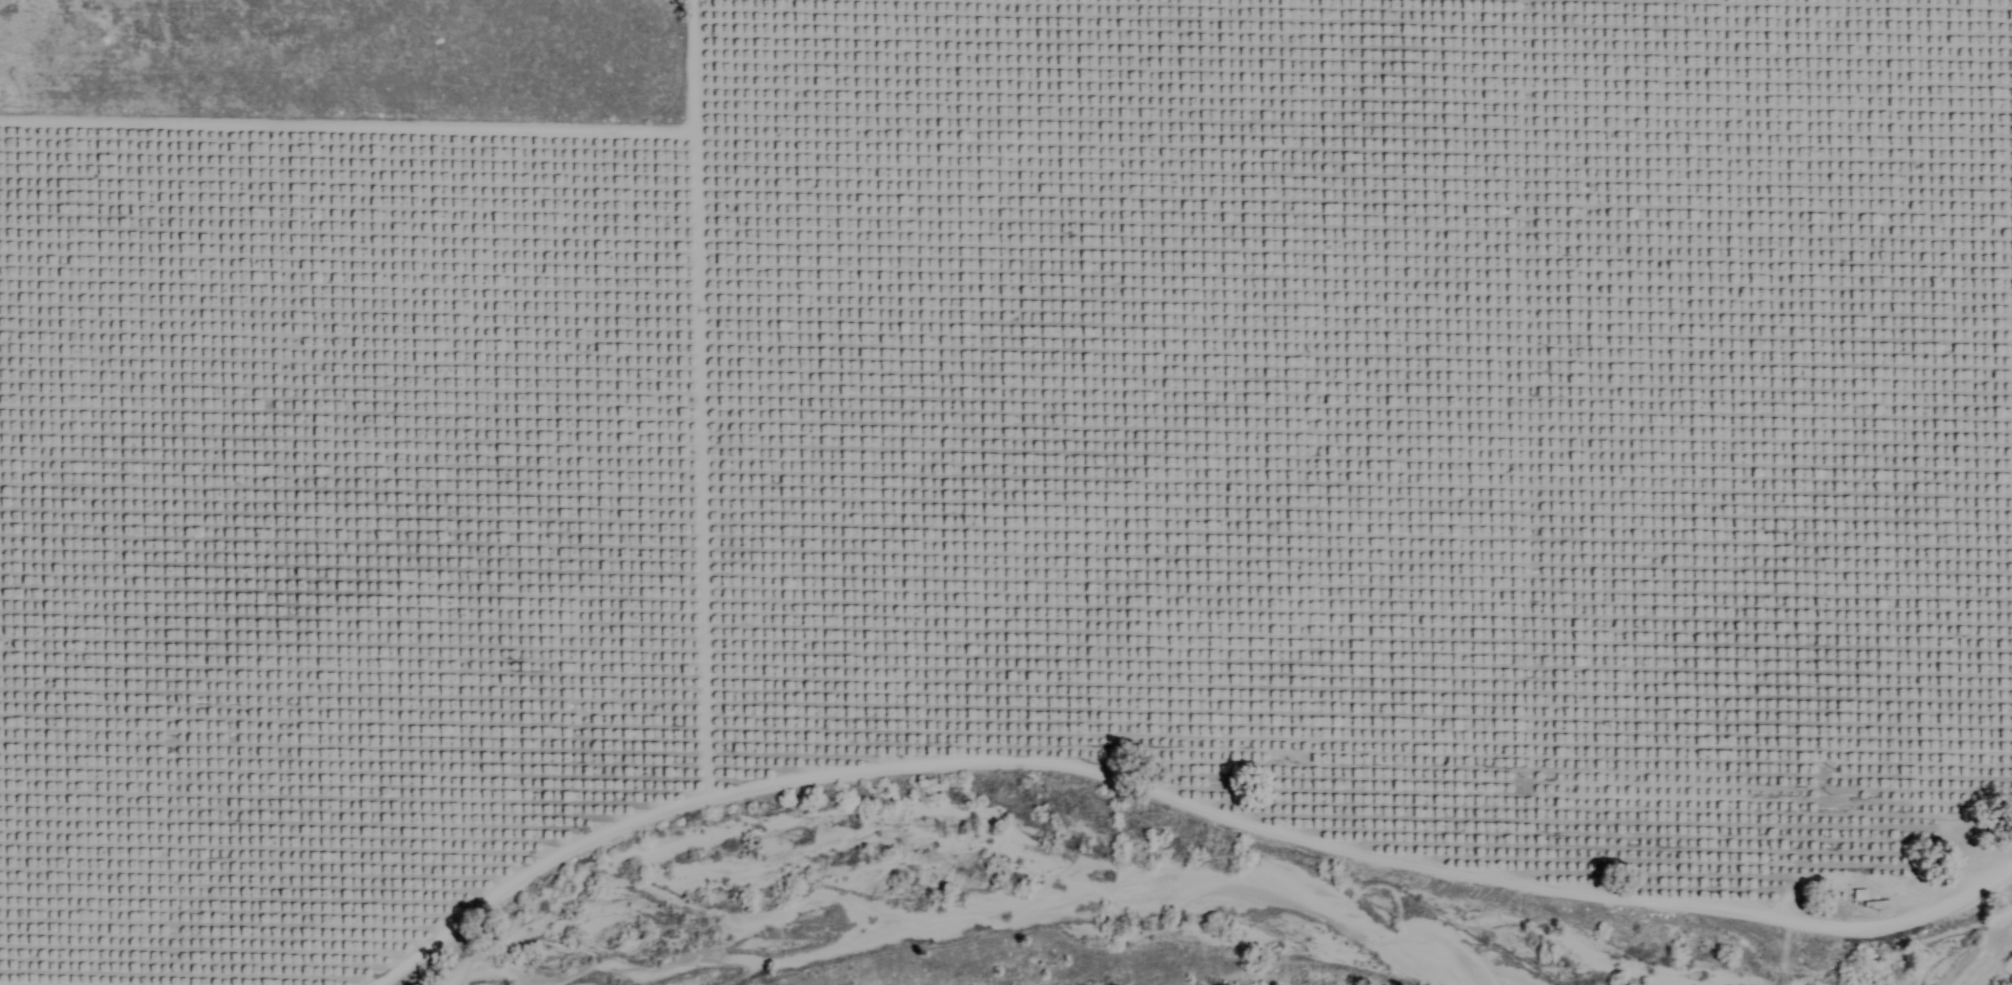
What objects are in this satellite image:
crop: (994, 439)
road: (1175, 730)

